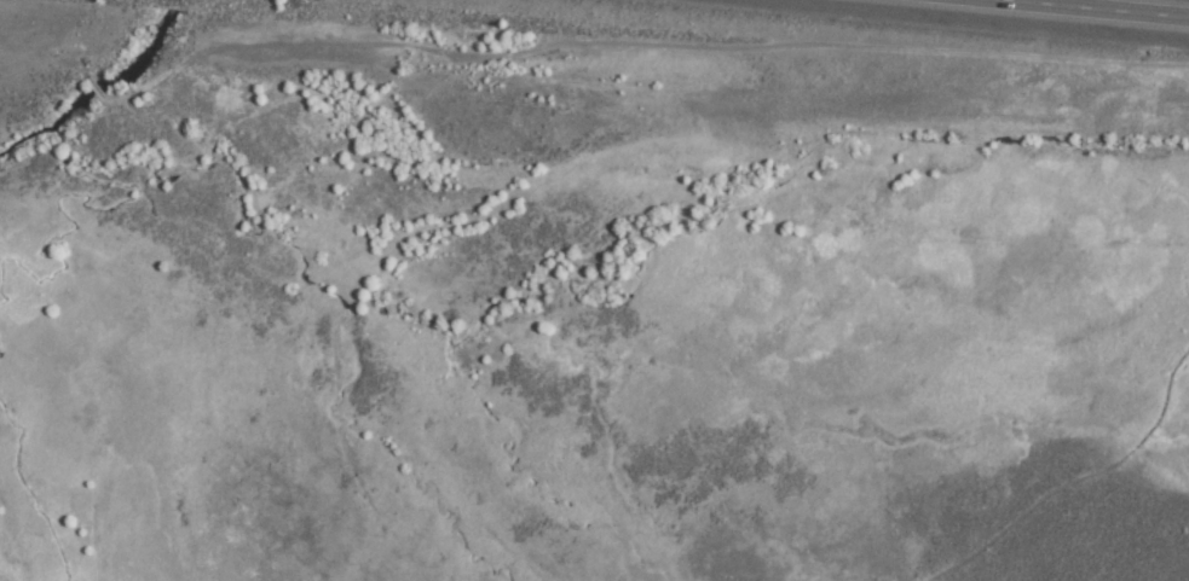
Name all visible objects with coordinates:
road: (1093, 8)
road: (637, 45)
road: (42, 66)
road: (92, 91)
road: (1077, 480)

